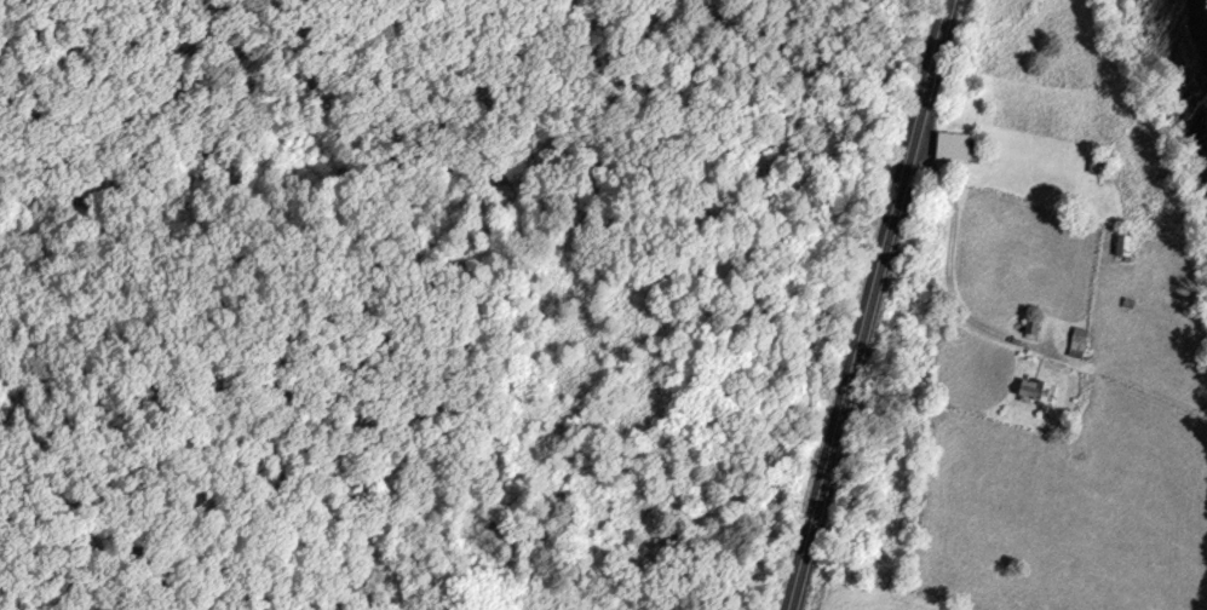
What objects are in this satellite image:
building: (955, 148)
building: (1100, 165)
building: (1127, 246)
road: (949, 265)
crop: (1094, 294)
road: (870, 305)
building: (1034, 328)
building: (1079, 344)
building: (1039, 392)
crop: (1064, 510)
crop: (876, 600)

